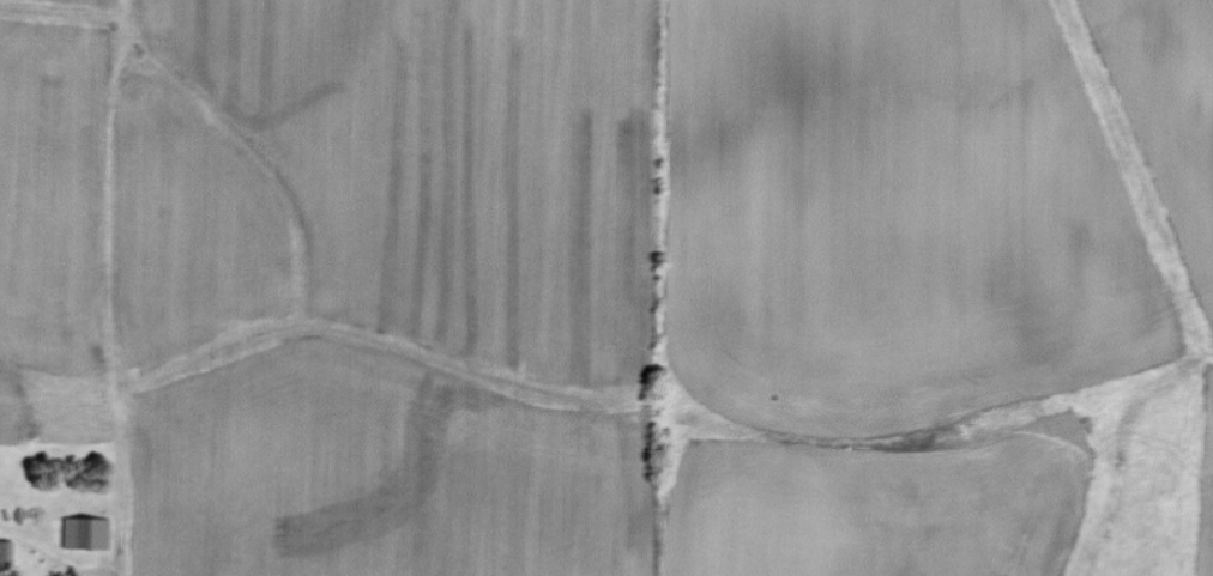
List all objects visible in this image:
building: (87, 533)
building: (7, 552)

